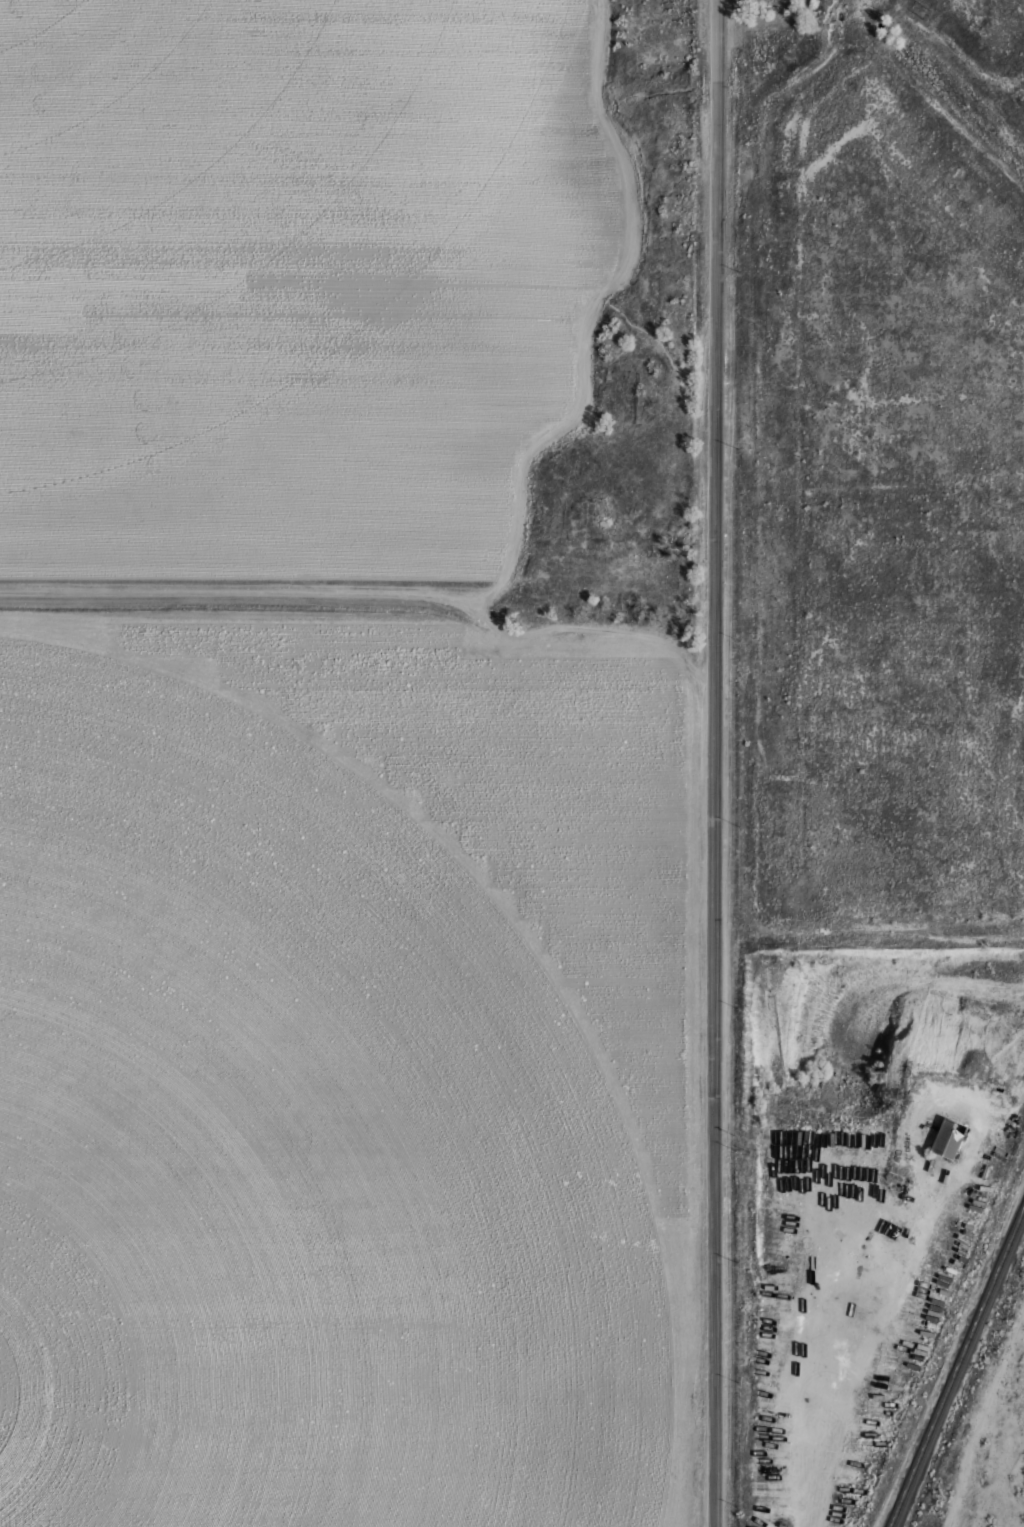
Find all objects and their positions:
road: (716, 763)
building: (949, 1137)
railway: (957, 1368)
road: (986, 1427)

